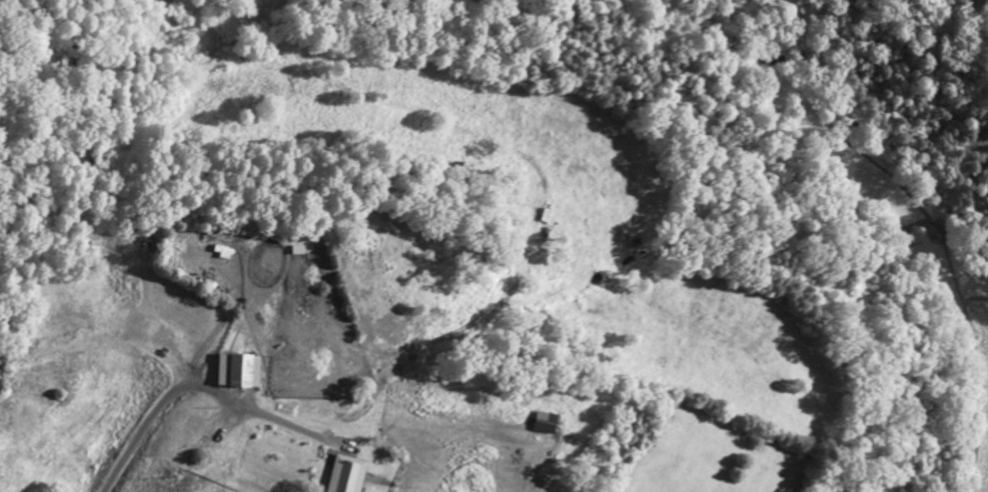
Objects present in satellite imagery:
building: (163, 341)
building: (235, 374)
road: (210, 391)
building: (542, 426)
building: (343, 476)

